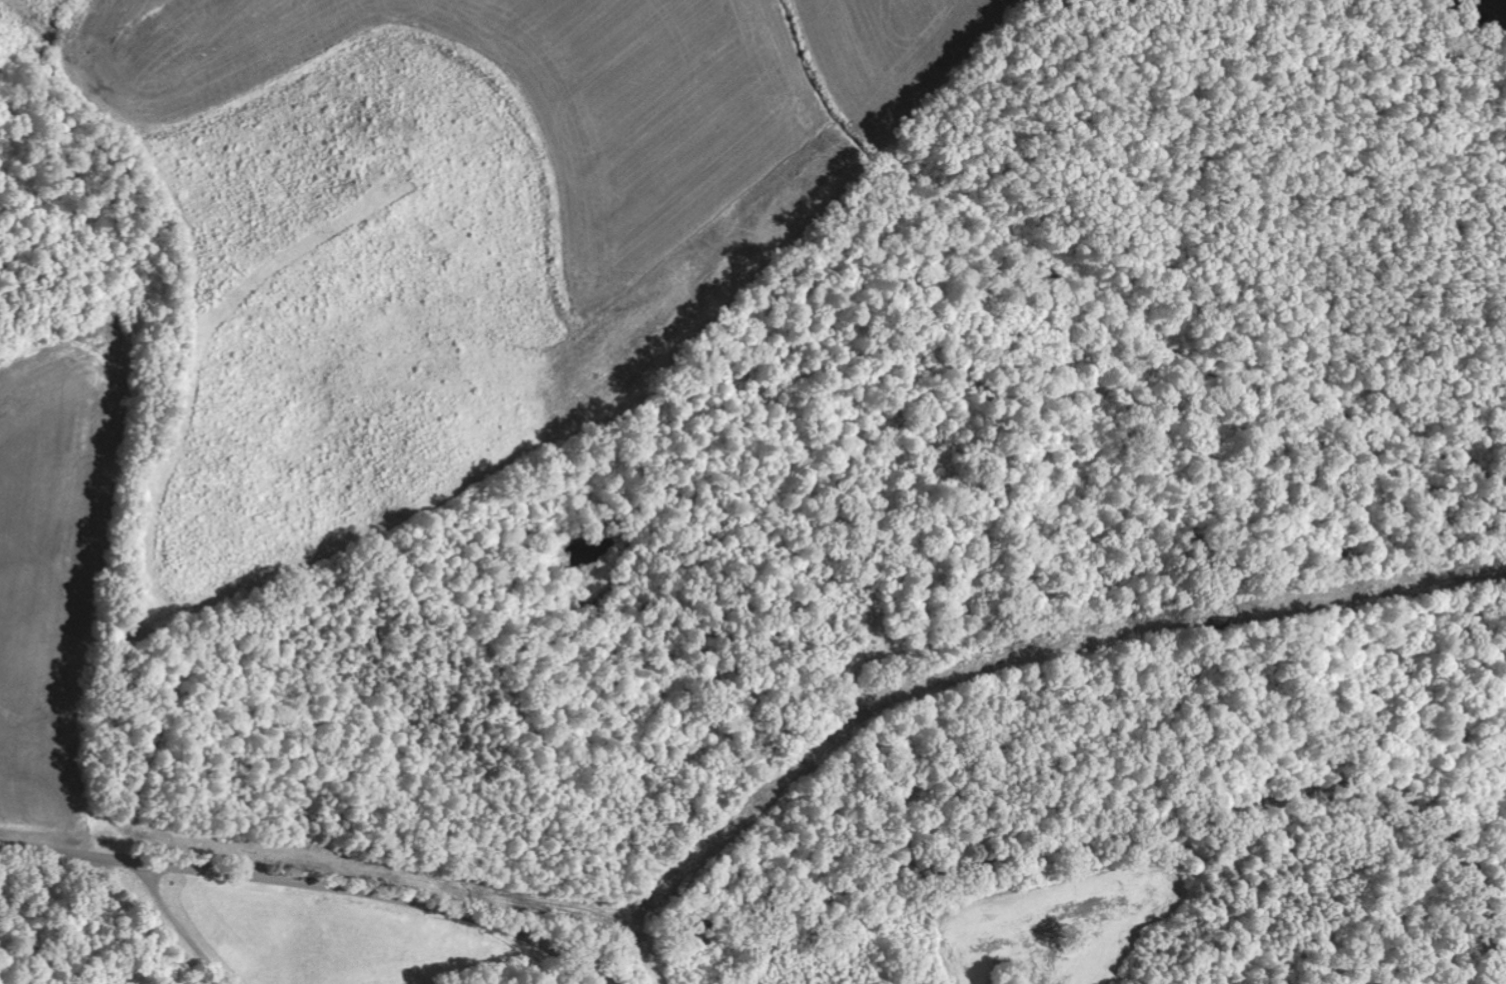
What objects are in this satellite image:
road: (307, 883)
road: (845, 901)
road: (184, 928)

